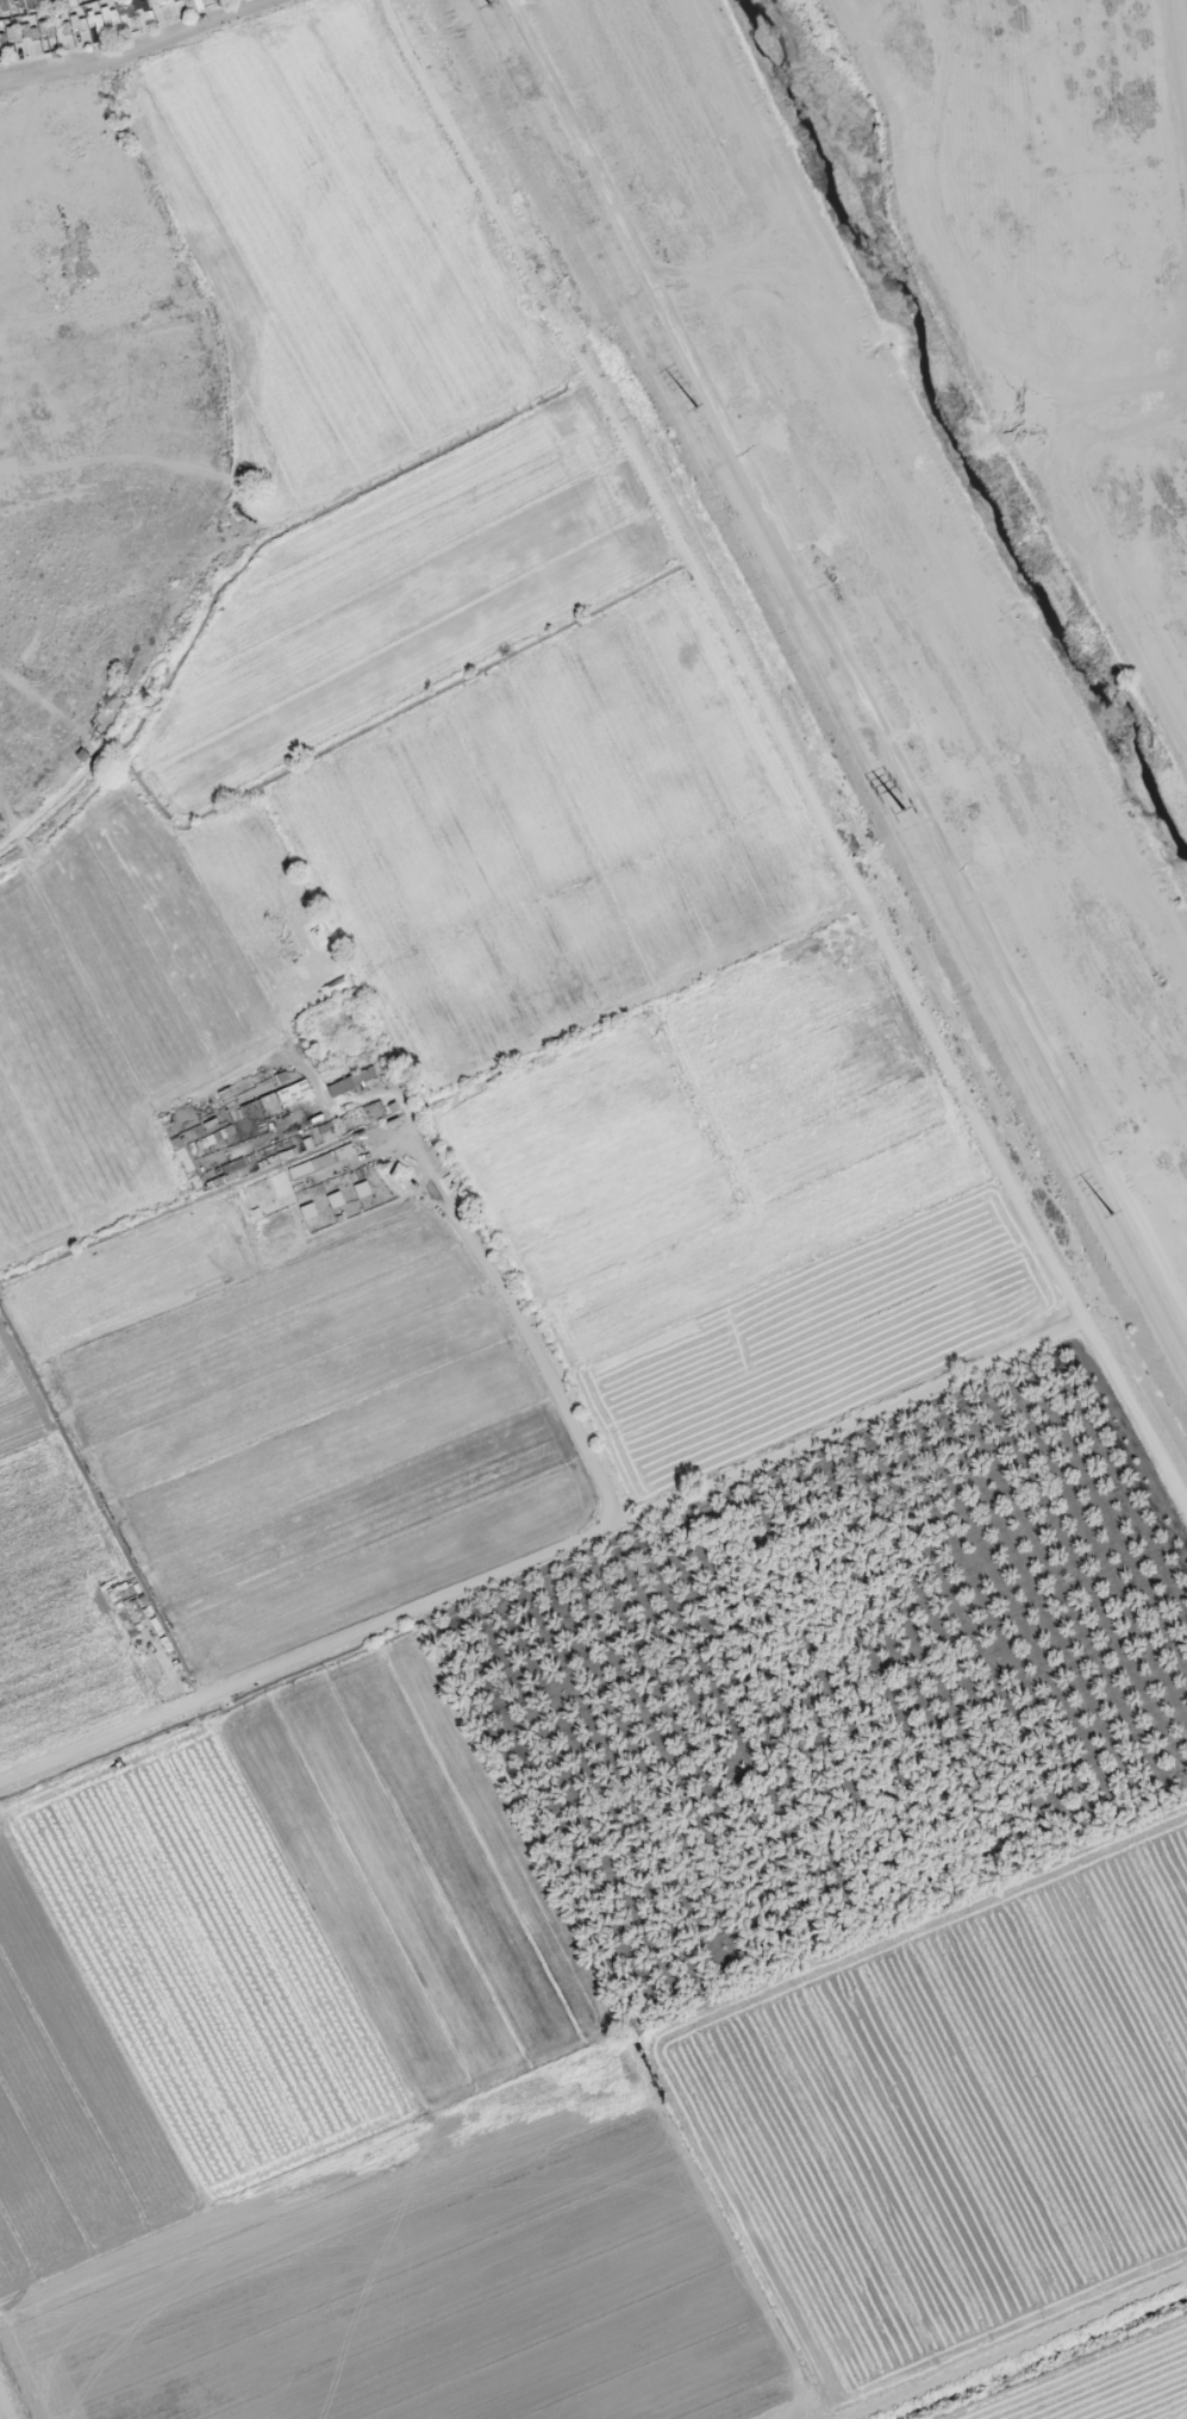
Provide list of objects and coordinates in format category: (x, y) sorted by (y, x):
power tower: (483, 5)
road: (139, 50)
road: (411, 52)
power tower: (685, 401)
river: (964, 421)
power tower: (897, 812)
road: (877, 930)
power tower: (1101, 1212)
road: (520, 1331)
road: (311, 1656)

